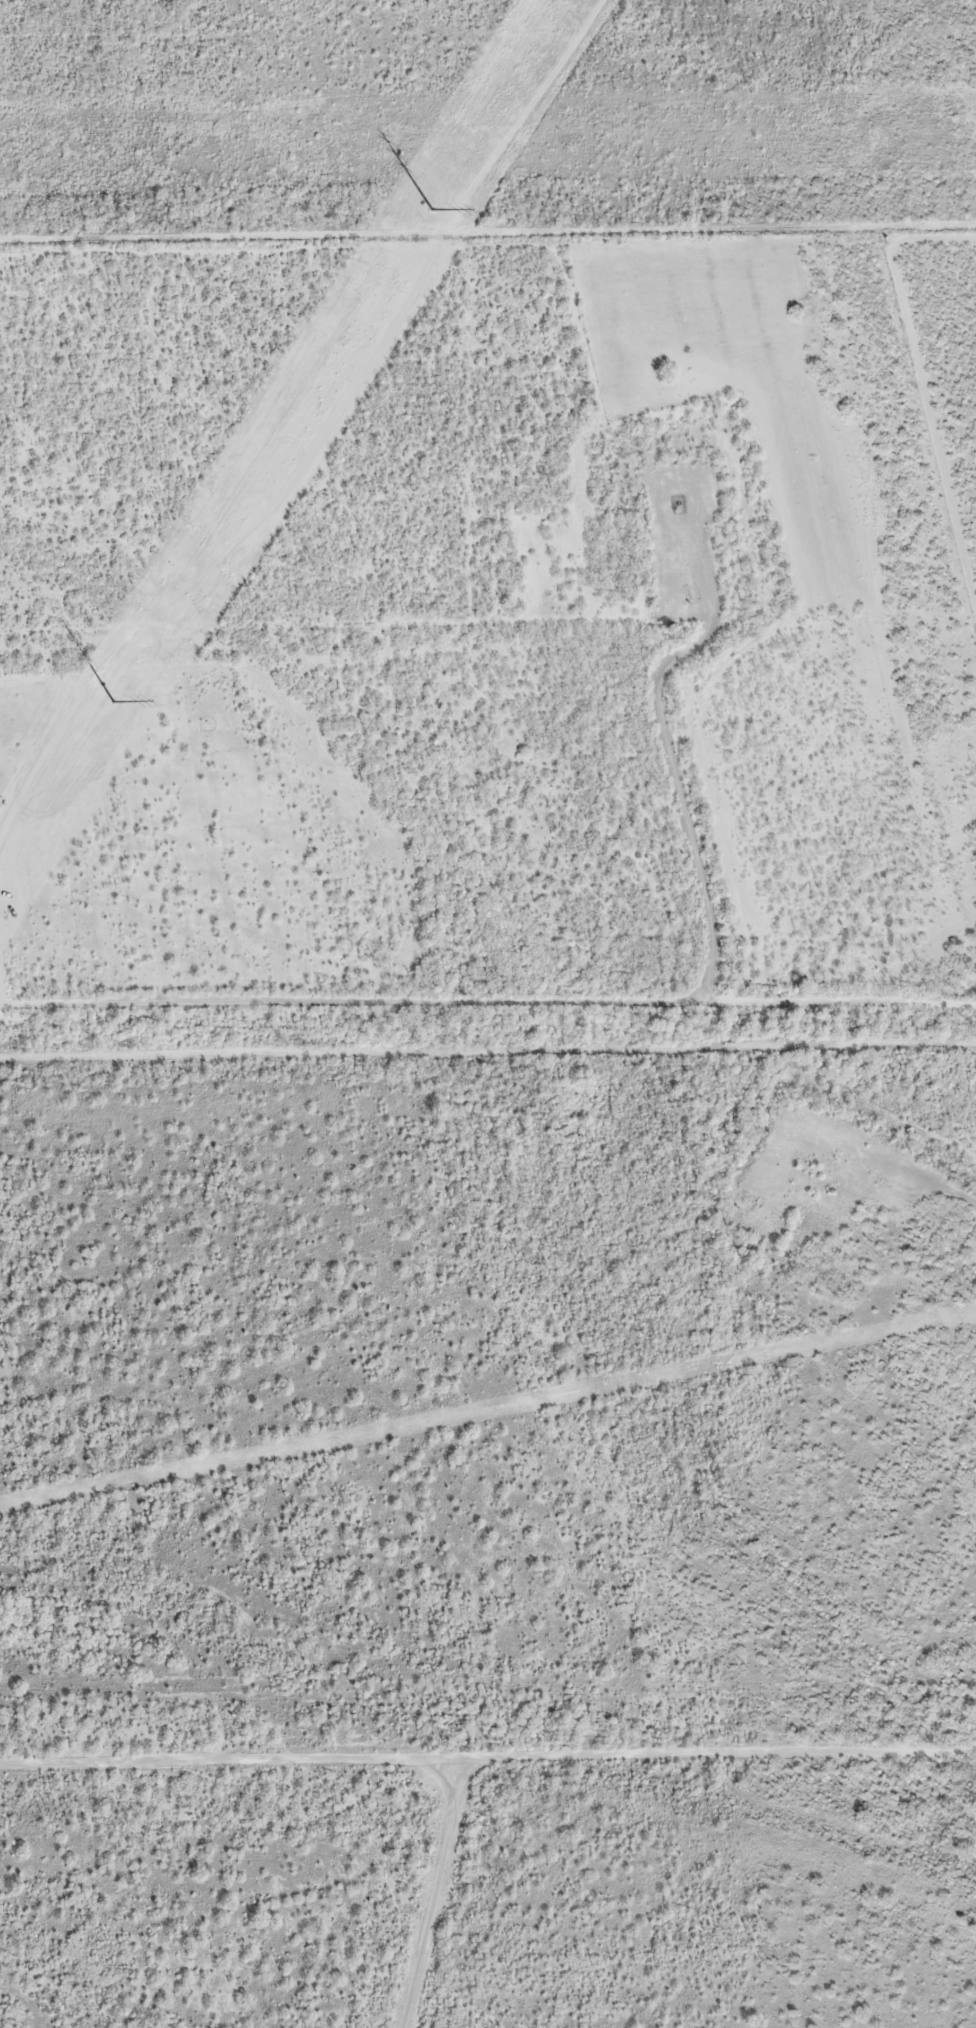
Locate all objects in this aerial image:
power tower: (430, 208)
power tower: (112, 701)
road: (444, 1020)
road: (488, 1757)
road: (414, 1895)

